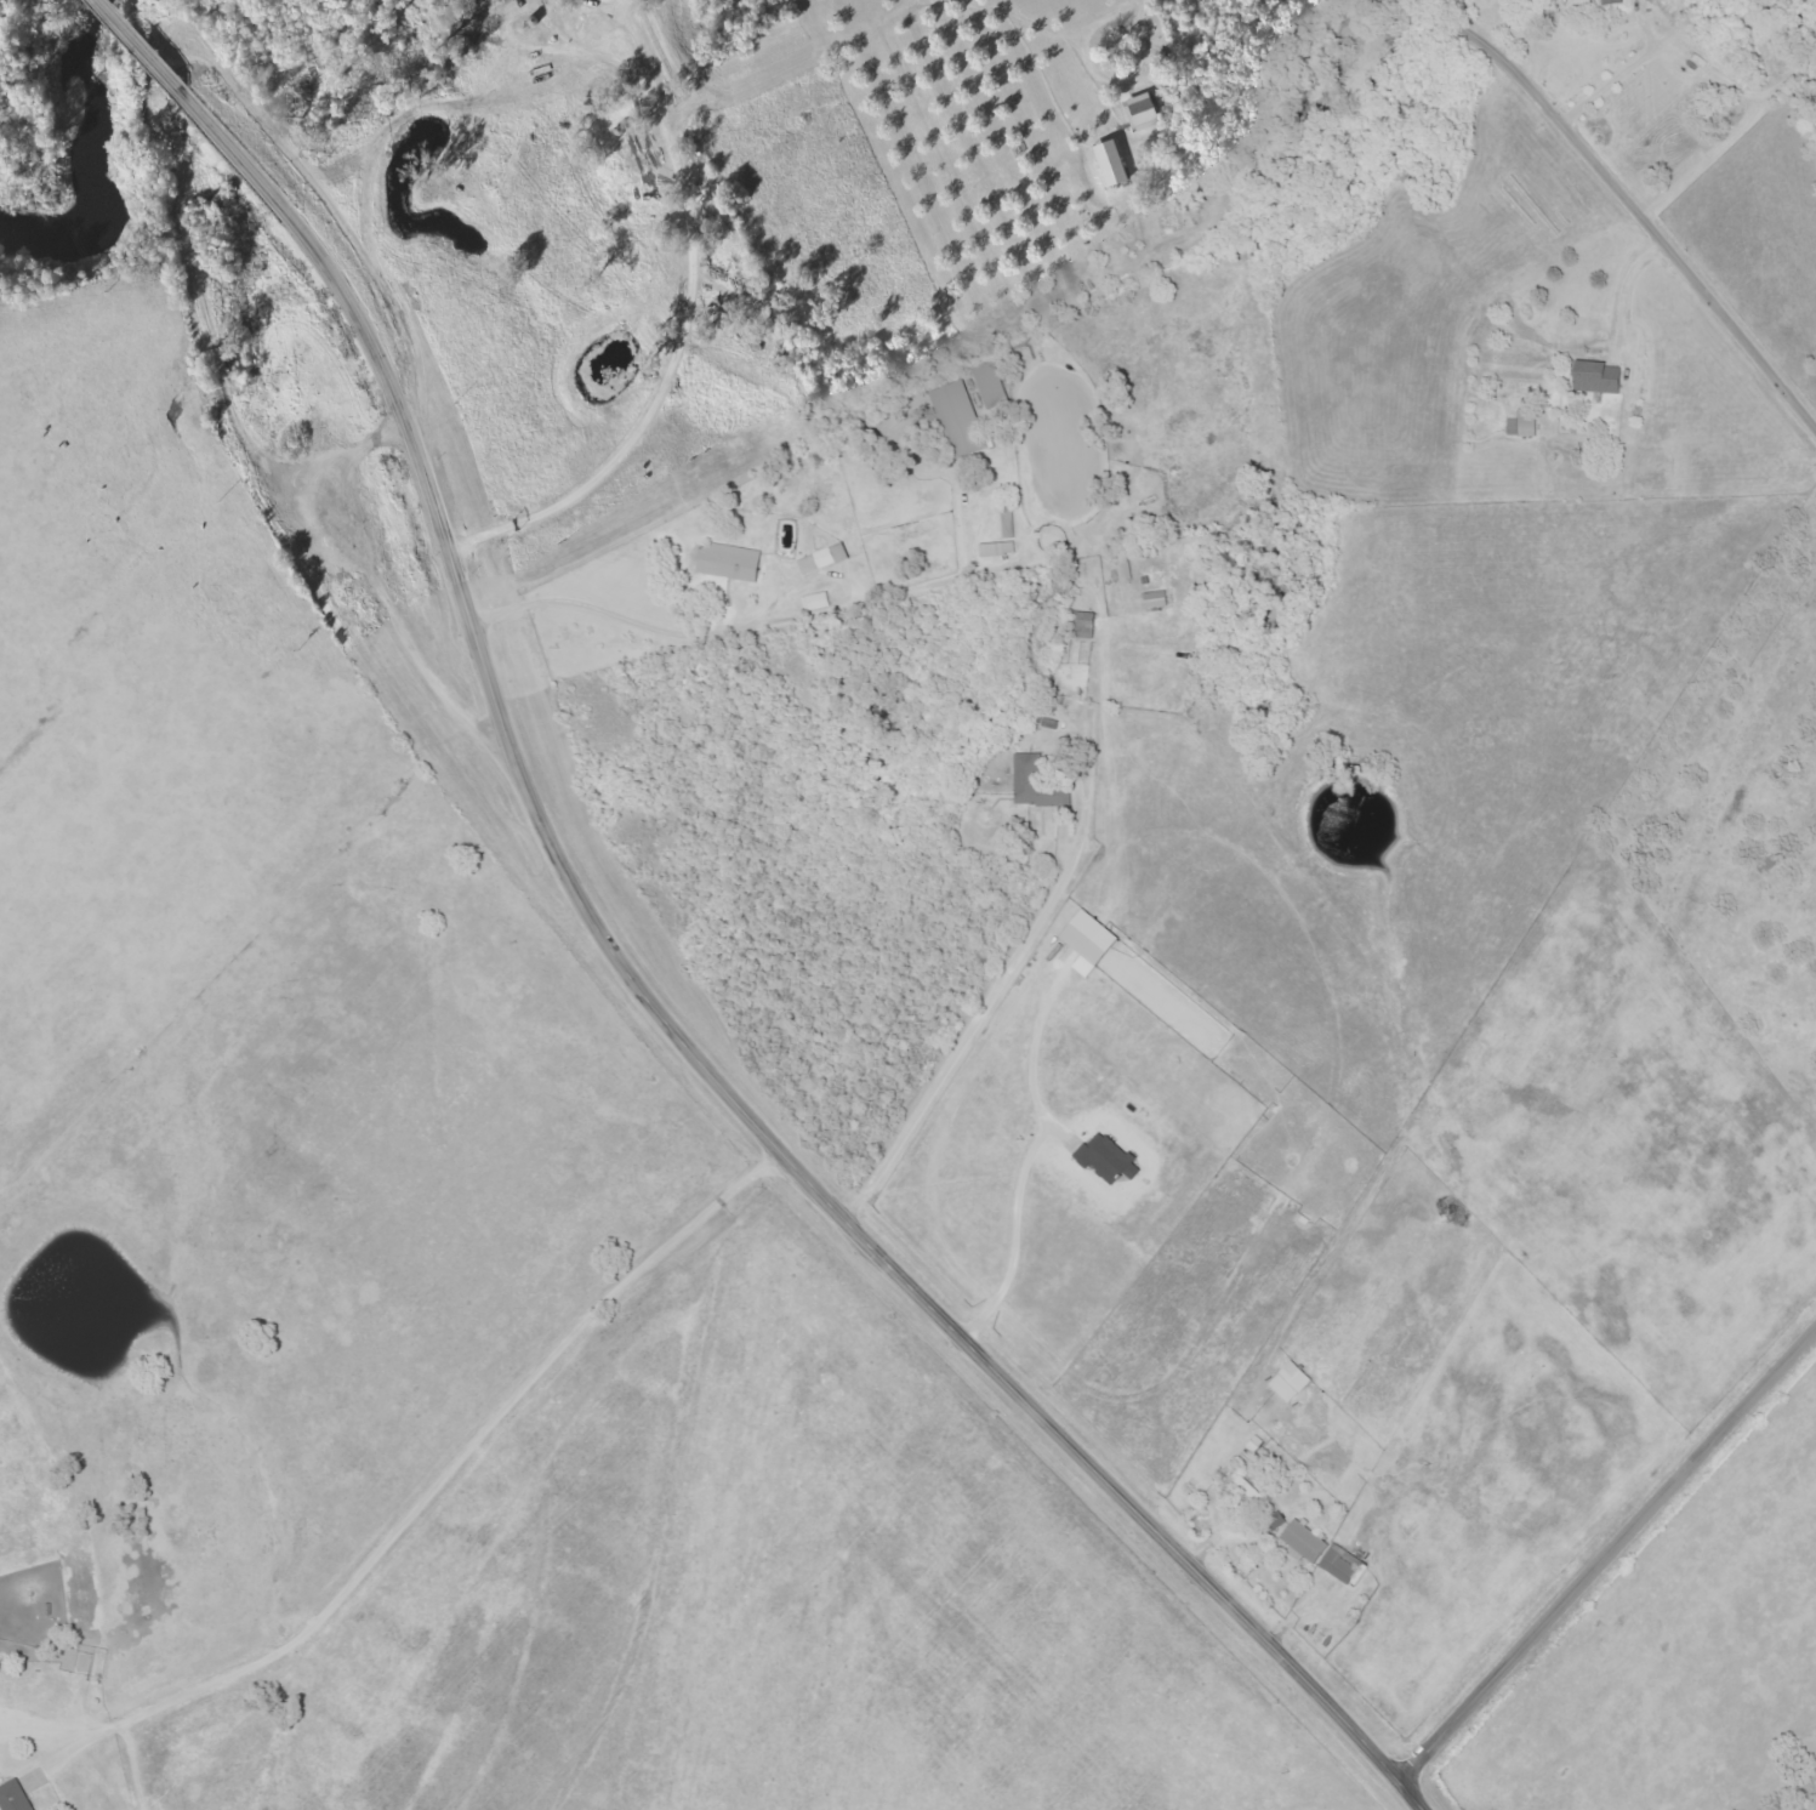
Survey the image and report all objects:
building: (1612, 1)
road: (1137, 4)
road: (141, 49)
road: (1103, 78)
river: (95, 144)
building: (1111, 165)
road: (1606, 188)
road: (1624, 294)
road: (682, 335)
building: (1600, 383)
building: (961, 420)
building: (1525, 423)
building: (1003, 535)
building: (825, 558)
building: (730, 562)
road: (359, 576)
road: (615, 620)
building: (1085, 625)
building: (1038, 784)
building: (1092, 941)
road: (979, 1013)
road: (678, 1036)
building: (1110, 1157)
road: (1009, 1239)
building: (1293, 1382)
road: (414, 1481)
building: (1304, 1542)
road: (1606, 1550)
building: (1342, 1564)
building: (15, 1797)

